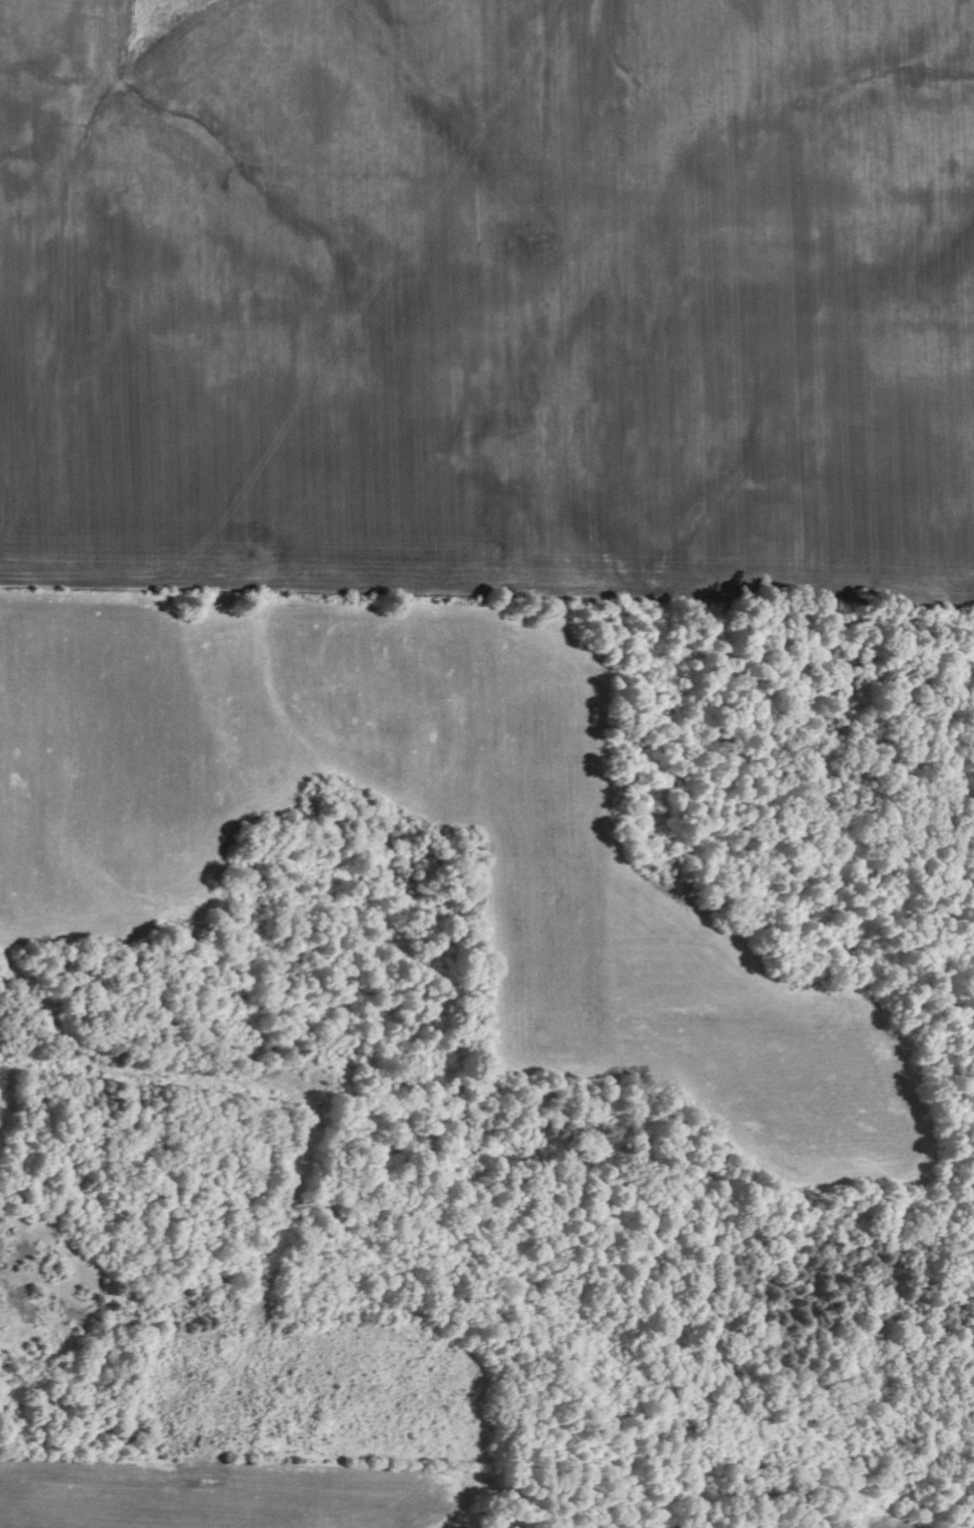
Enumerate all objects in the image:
road: (544, 49)

